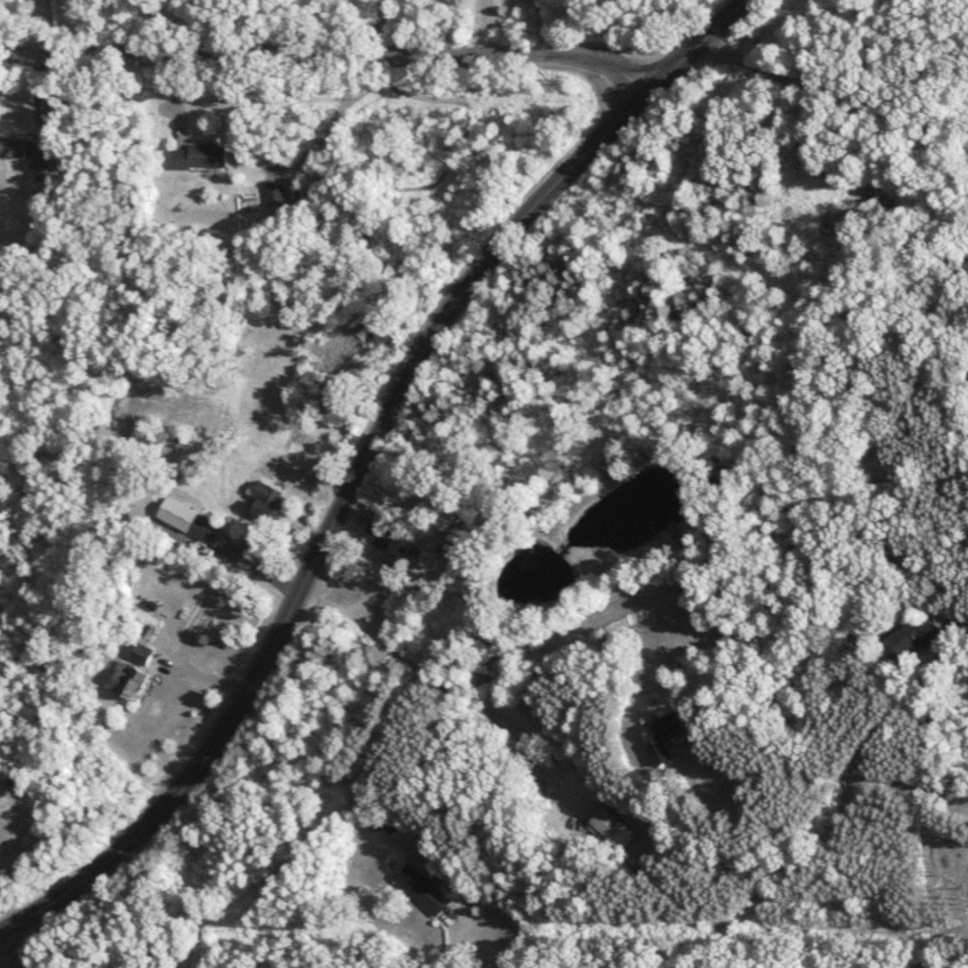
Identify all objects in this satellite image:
road: (482, 28)
road: (694, 48)
road: (328, 54)
road: (832, 83)
building: (29, 153)
building: (201, 157)
building: (275, 193)
road: (953, 353)
building: (268, 501)
road: (329, 524)
building: (206, 529)
building: (385, 534)
building: (911, 639)
building: (143, 655)
building: (128, 681)
road: (535, 702)
building: (665, 732)
road: (873, 778)
building: (383, 828)
building: (611, 830)
building: (424, 893)
road: (1, 966)

